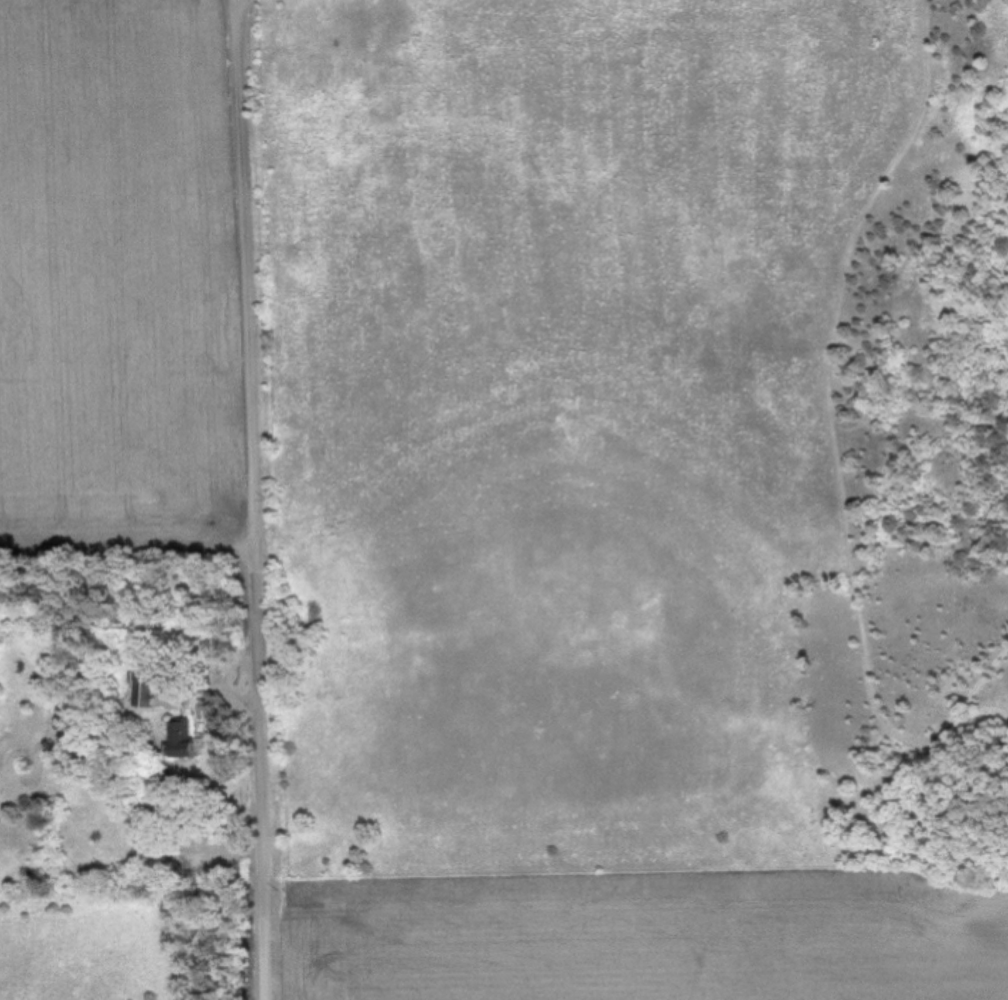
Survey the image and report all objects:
road: (833, 375)
park: (628, 440)
road: (251, 499)
building: (144, 688)
road: (968, 705)
building: (181, 738)
road: (959, 795)

